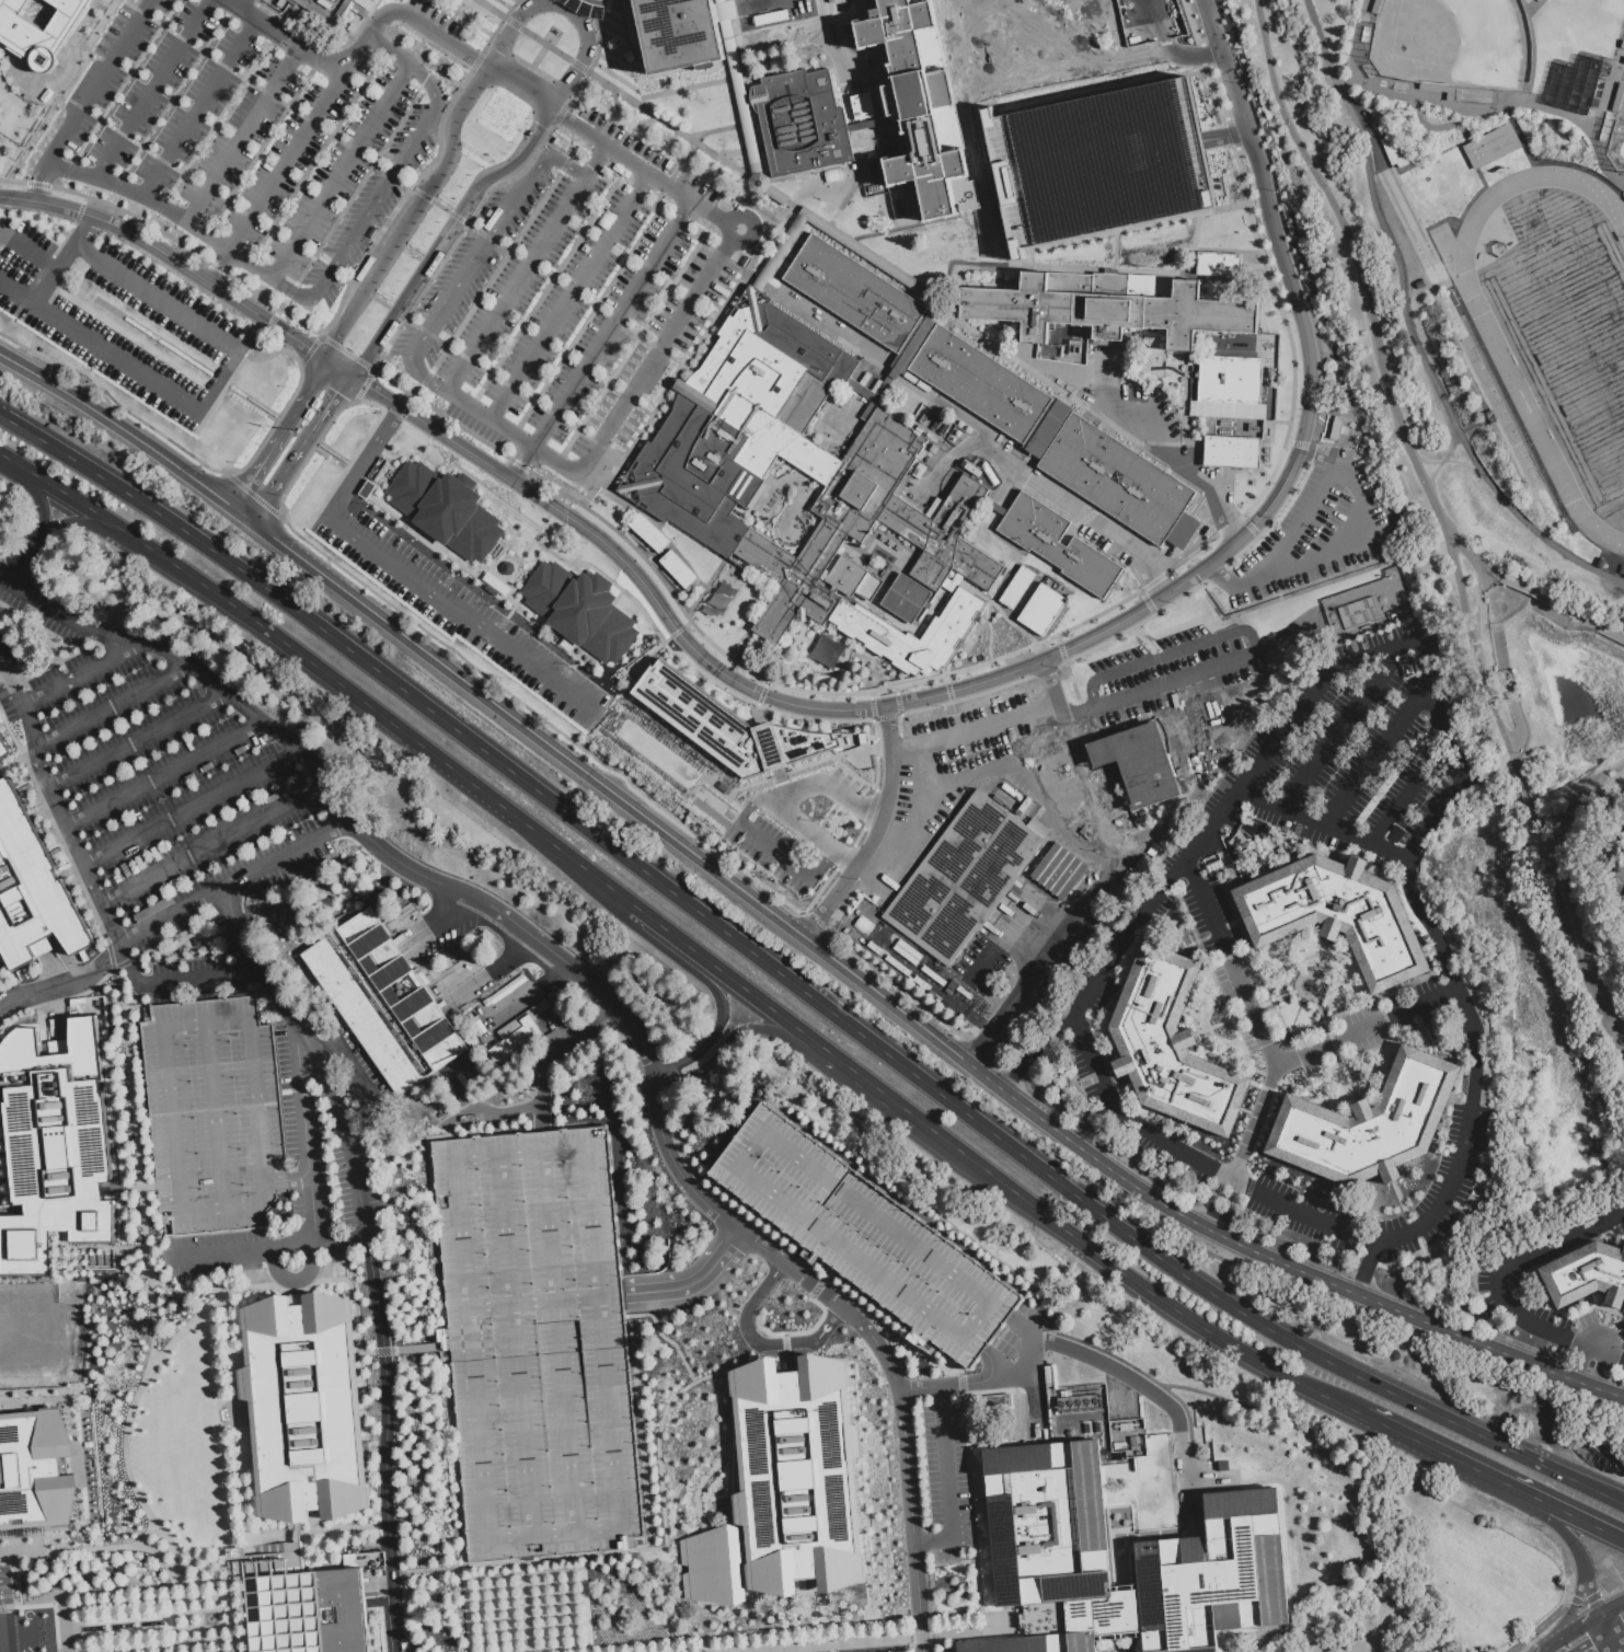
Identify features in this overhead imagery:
building: (342, 7)
building: (584, 7)
building: (1377, 7)
park: (1610, 7)
road: (573, 11)
road: (425, 27)
building: (37, 33)
building: (680, 34)
road: (285, 37)
park: (1451, 43)
building: (1622, 45)
road: (1067, 71)
road: (97, 83)
road: (151, 89)
road: (522, 91)
building: (1440, 91)
road: (1027, 94)
building: (1617, 99)
road: (1433, 101)
building: (920, 103)
building: (1593, 103)
building: (860, 106)
building: (0, 107)
road: (197, 107)
road: (1591, 124)
building: (802, 125)
road: (1437, 128)
road: (243, 135)
parking lot: (249, 135)
road: (1223, 138)
building: (749, 140)
park: (1617, 141)
road: (1037, 142)
road: (300, 146)
building: (1491, 147)
road: (356, 152)
building: (1396, 152)
road: (1121, 159)
building: (1096, 163)
parking lot: (1096, 163)
road: (641, 166)
road: (442, 178)
road: (39, 185)
road: (377, 199)
road: (165, 209)
road: (1114, 209)
road: (82, 231)
road: (445, 234)
road: (757, 236)
road: (28, 254)
road: (174, 259)
road: (474, 259)
building: (1219, 265)
road: (220, 267)
road: (18, 292)
road: (512, 292)
building: (853, 293)
parking lot: (575, 294)
building: (1105, 311)
parking lot: (118, 321)
road: (353, 322)
road: (611, 326)
track: (1559, 327)
road: (1405, 328)
road: (249, 335)
building: (1244, 345)
park: (1575, 346)
road: (342, 369)
road: (1103, 373)
road: (1385, 380)
building: (978, 383)
track: (1513, 383)
building: (1226, 389)
road: (197, 412)
park: (838, 417)
building: (1493, 418)
building: (1335, 427)
road: (120, 428)
building: (1253, 428)
flagpole: (296, 431)
road: (285, 436)
road: (1389, 439)
road: (526, 448)
road: (302, 449)
building: (1232, 452)
road: (1314, 457)
road: (1360, 457)
road: (1444, 460)
road: (1175, 465)
road: (522, 466)
building: (693, 481)
building: (1119, 482)
road: (1048, 489)
road: (1357, 498)
road: (44, 504)
building: (445, 509)
road: (246, 516)
road: (70, 521)
parking lot: (1312, 531)
building: (648, 534)
building: (1059, 547)
road: (30, 555)
building: (1600, 563)
building: (679, 571)
building: (1623, 576)
building: (123, 578)
road: (405, 578)
building: (1016, 588)
building: (1041, 609)
parking lot: (458, 613)
building: (1359, 614)
building: (577, 615)
road: (66, 617)
road: (1246, 635)
building: (826, 651)
road: (1039, 662)
road: (24, 665)
parking lot: (1172, 670)
road: (3, 671)
road: (81, 673)
road: (3, 679)
road: (1053, 691)
road: (112, 706)
road: (26, 709)
road: (1080, 715)
road: (260, 720)
road: (1343, 726)
building: (739, 728)
road: (976, 728)
road: (889, 729)
road: (137, 741)
building: (4, 751)
road: (1379, 756)
building: (1137, 763)
road: (12, 765)
road: (922, 765)
parking lot: (951, 769)
road: (1485, 772)
road: (165, 775)
road: (967, 776)
road: (825, 784)
road: (891, 785)
road: (1039, 793)
road: (1408, 794)
road: (1524, 799)
road: (194, 809)
road: (749, 810)
road: (37, 811)
road: (796, 822)
road: (1321, 825)
parking lot: (805, 828)
road: (56, 829)
road: (667, 833)
road: (909, 841)
road: (215, 844)
road: (873, 844)
road: (1583, 846)
road: (773, 851)
road: (830, 852)
building: (1212, 867)
building: (1058, 871)
road: (67, 875)
building: (964, 878)
road: (235, 883)
road: (842, 887)
building: (32, 893)
building: (1336, 915)
road: (815, 922)
road: (111, 924)
road: (238, 926)
road: (1576, 941)
road: (1057, 943)
road: (677, 944)
road: (1318, 959)
road: (908, 969)
road: (1303, 979)
road: (64, 983)
road: (795, 986)
building: (77, 1002)
road: (723, 1003)
building: (388, 1009)
road: (1249, 1010)
road: (763, 1030)
road: (307, 1042)
building: (516, 1043)
road: (1335, 1046)
building: (1171, 1047)
road: (1036, 1048)
road: (1269, 1054)
road: (346, 1061)
road: (693, 1067)
road: (129, 1068)
road: (542, 1089)
building: (214, 1116)
parking garage: (214, 1116)
road: (541, 1118)
road: (1253, 1123)
building: (1368, 1125)
road: (306, 1136)
building: (55, 1148)
road: (458, 1160)
road: (298, 1179)
road: (357, 1186)
road: (130, 1190)
road: (1264, 1194)
road: (1156, 1197)
road: (703, 1202)
road: (1222, 1206)
road: (549, 1227)
building: (864, 1237)
parking garage: (864, 1237)
road: (368, 1247)
road: (267, 1248)
road: (59, 1250)
building: (91, 1261)
building: (99, 1261)
building: (106, 1261)
road: (1368, 1264)
road: (1499, 1273)
building: (1587, 1275)
building: (80, 1279)
road: (295, 1280)
road: (692, 1285)
road: (251, 1289)
road: (579, 1298)
road: (534, 1303)
road: (1424, 1320)
road: (189, 1325)
road: (1023, 1326)
park: (27, 1331)
building: (538, 1343)
parking garage: (538, 1343)
road: (760, 1343)
road: (515, 1345)
road: (368, 1352)
road: (1611, 1353)
road: (562, 1356)
road: (994, 1365)
road: (1591, 1367)
building: (375, 1368)
building: (1047, 1377)
road: (966, 1383)
road: (1035, 1384)
road: (1151, 1390)
road: (139, 1393)
road: (1617, 1398)
building: (1079, 1402)
building: (998, 1403)
building: (304, 1408)
road: (1033, 1426)
building: (1127, 1440)
road: (968, 1442)
road: (1016, 1446)
road: (385, 1451)
road: (657, 1454)
road: (1449, 1458)
road: (569, 1460)
road: (1373, 1469)
building: (34, 1477)
road: (1297, 1481)
road: (244, 1483)
road: (949, 1483)
building: (783, 1488)
road: (459, 1507)
road: (1579, 1520)
building: (1047, 1525)
road: (1560, 1532)
road: (152, 1551)
road: (462, 1568)
building: (1214, 1575)
road: (208, 1589)
road: (1611, 1590)
road: (666, 1591)
road: (1590, 1591)
road: (126, 1596)
road: (1583, 1603)
road: (1573, 1606)
road: (525, 1607)
road: (1612, 1608)
building: (284, 1609)
building: (345, 1609)
road: (183, 1615)
building: (1108, 1616)
road: (34, 1618)
road: (239, 1618)
building: (1045, 1620)
road: (819, 1621)
road: (1541, 1626)
road: (1578, 1628)
road: (1605, 1630)
road: (884, 1640)
road: (1617, 1642)
road: (953, 1643)
building: (1035, 1644)
road: (214, 1645)
road: (1117, 1645)
road: (1550, 1647)
road: (1604, 1649)
road: (1612, 1649)
road: (153, 1650)
road: (1542, 1651)

